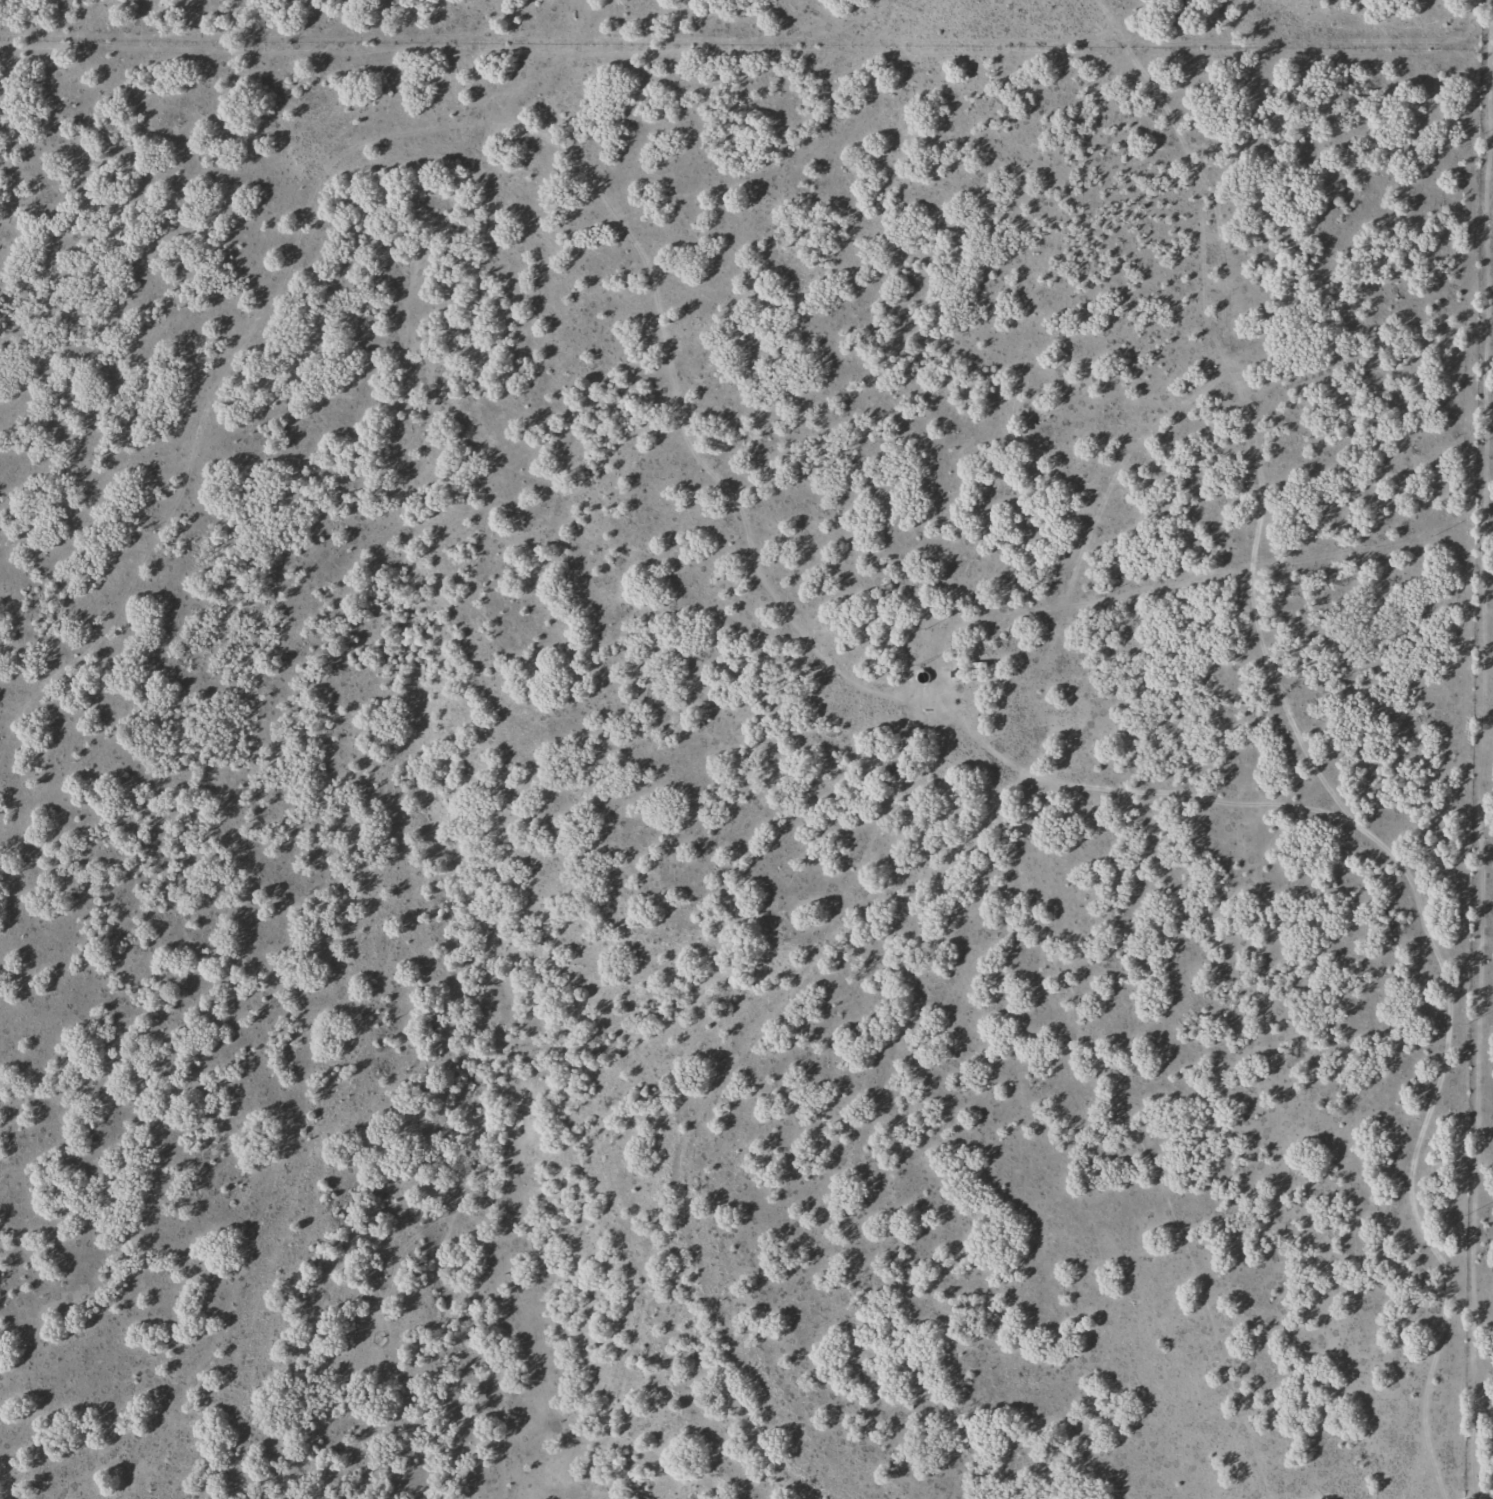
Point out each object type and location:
road: (1231, 420)
road: (726, 554)

